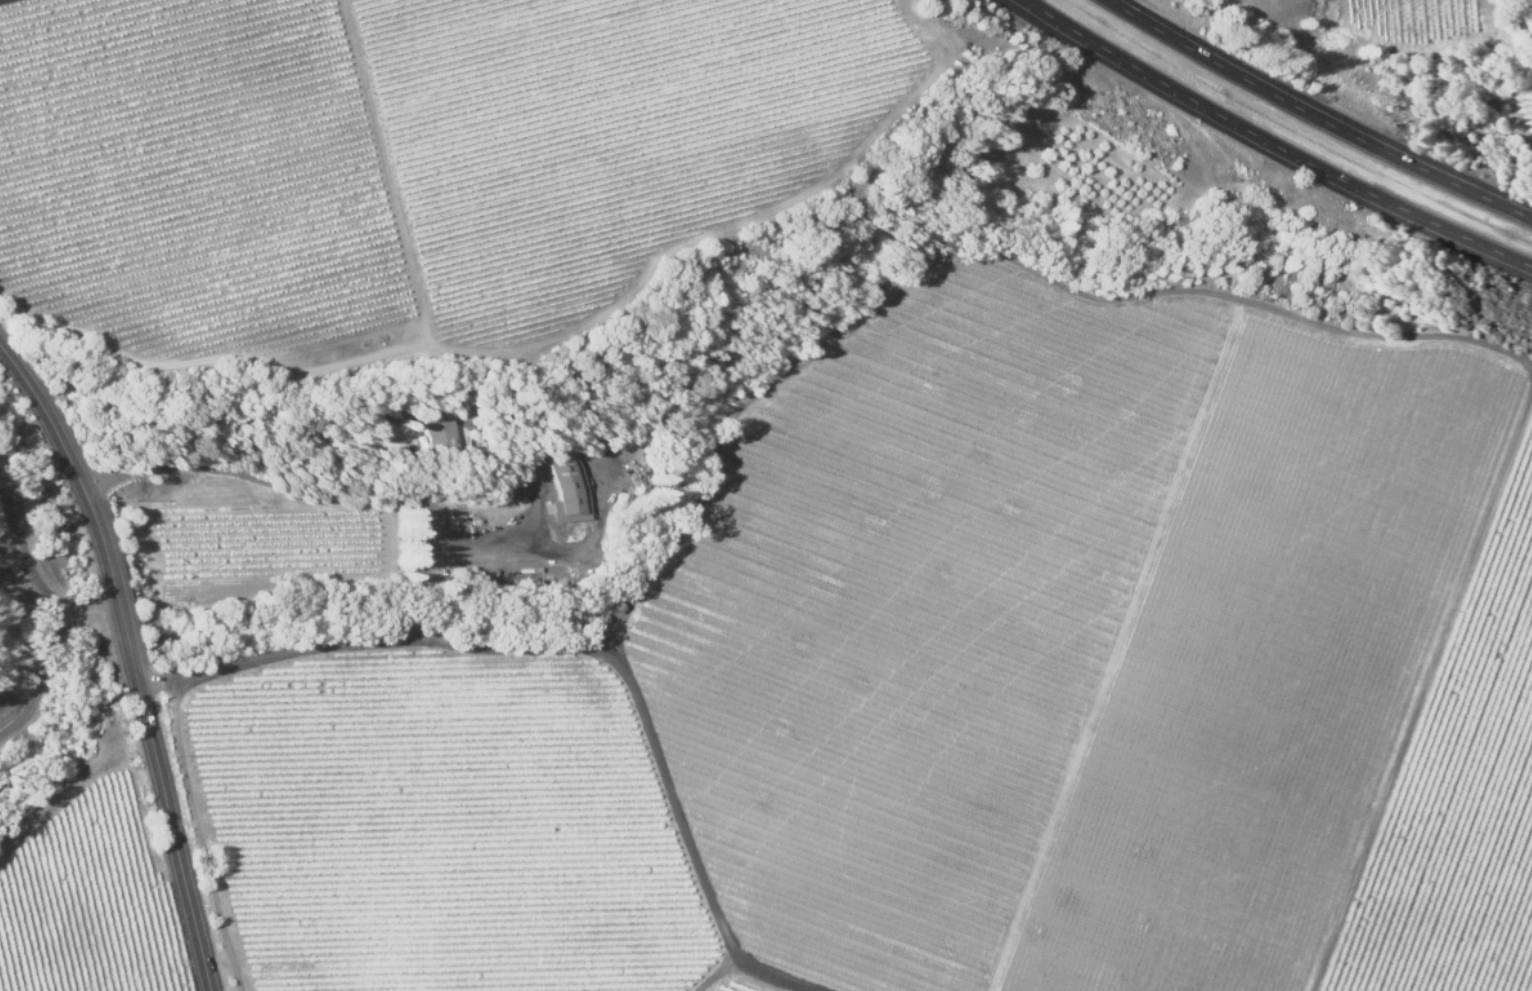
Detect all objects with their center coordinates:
road: (1316, 119)
road: (1273, 144)
building: (444, 438)
building: (462, 459)
building: (574, 489)
building: (615, 608)
building: (592, 627)
road: (566, 637)
road: (52, 642)
road: (136, 658)
road: (74, 794)
road: (1193, 939)

